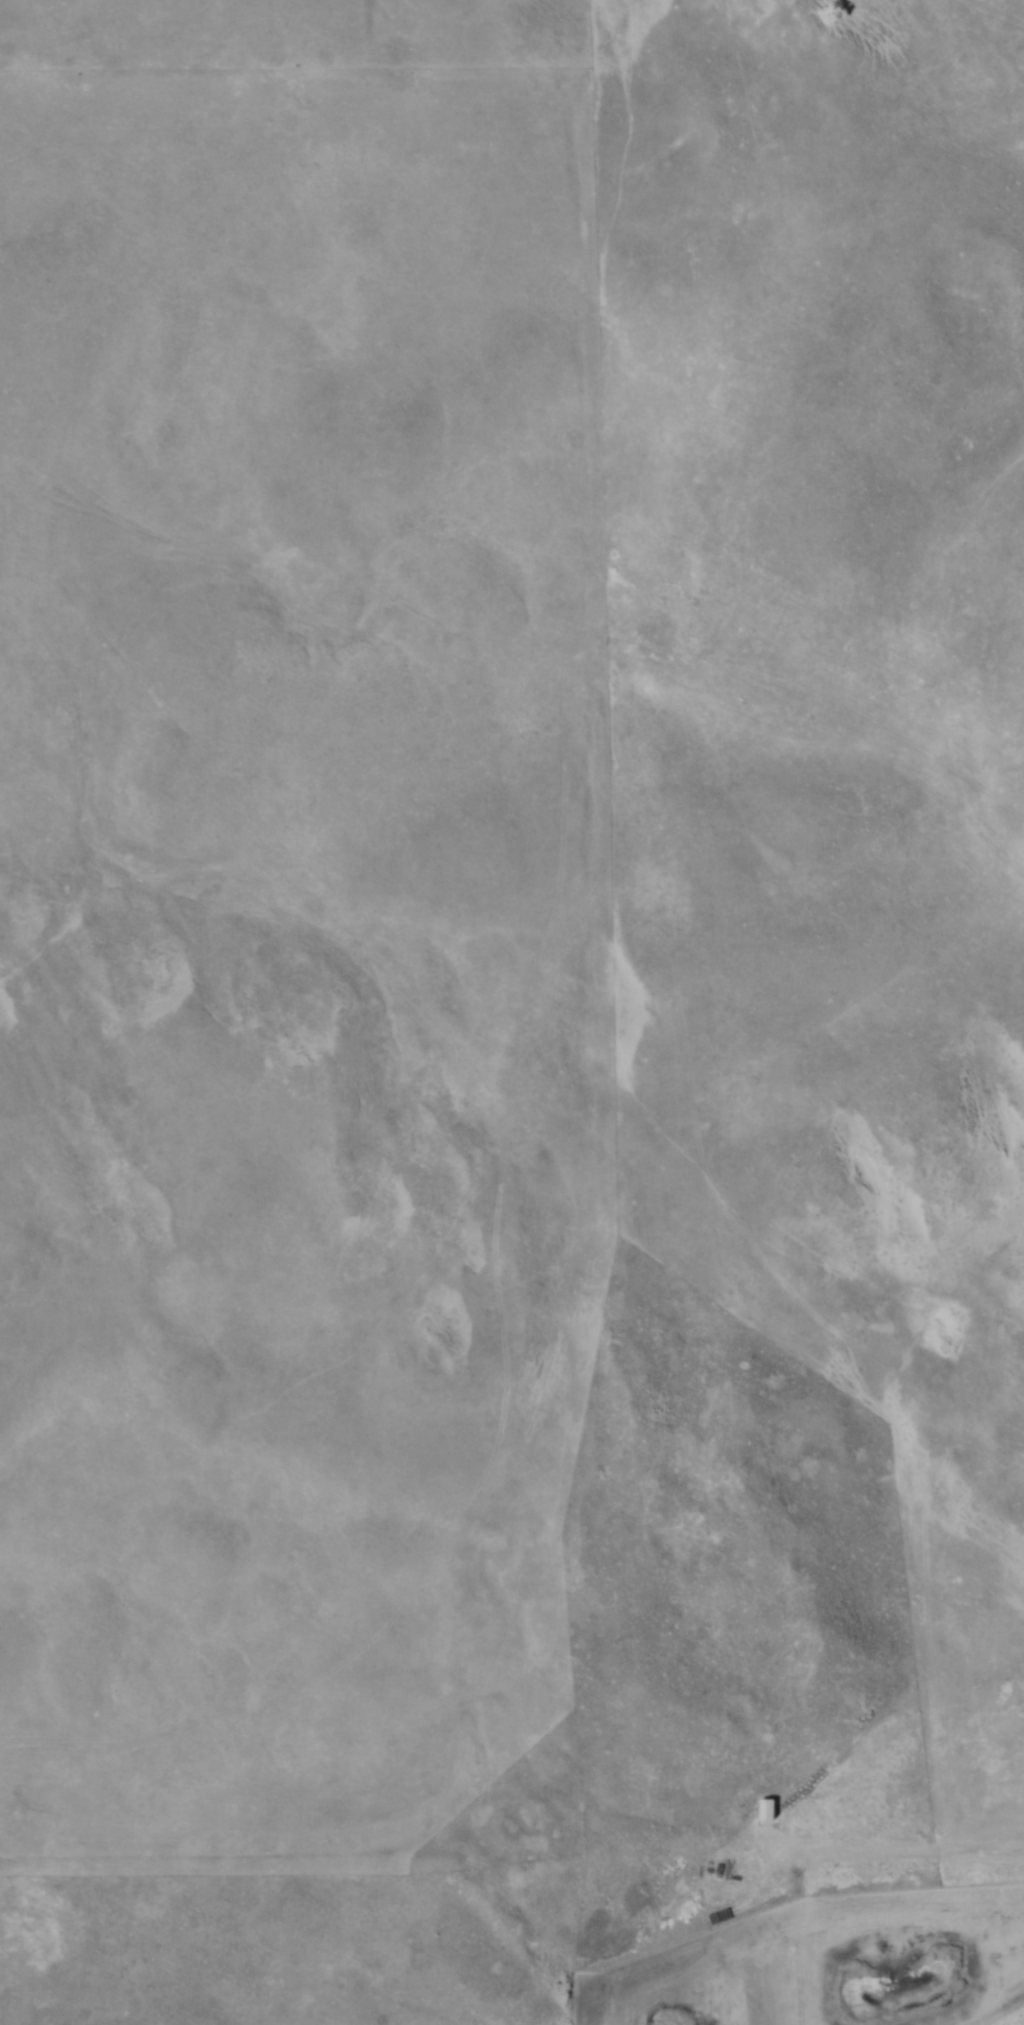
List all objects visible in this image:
building: (764, 1812)
road: (952, 1844)

